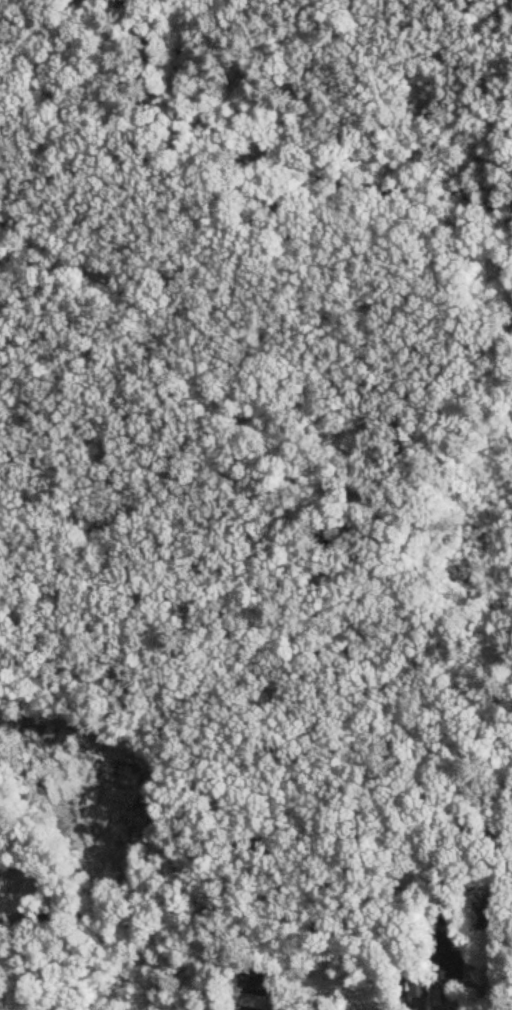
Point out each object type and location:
road: (476, 275)
road: (243, 420)
road: (317, 833)
building: (3, 878)
road: (441, 886)
road: (289, 915)
road: (397, 921)
building: (446, 959)
building: (255, 984)
building: (418, 987)

